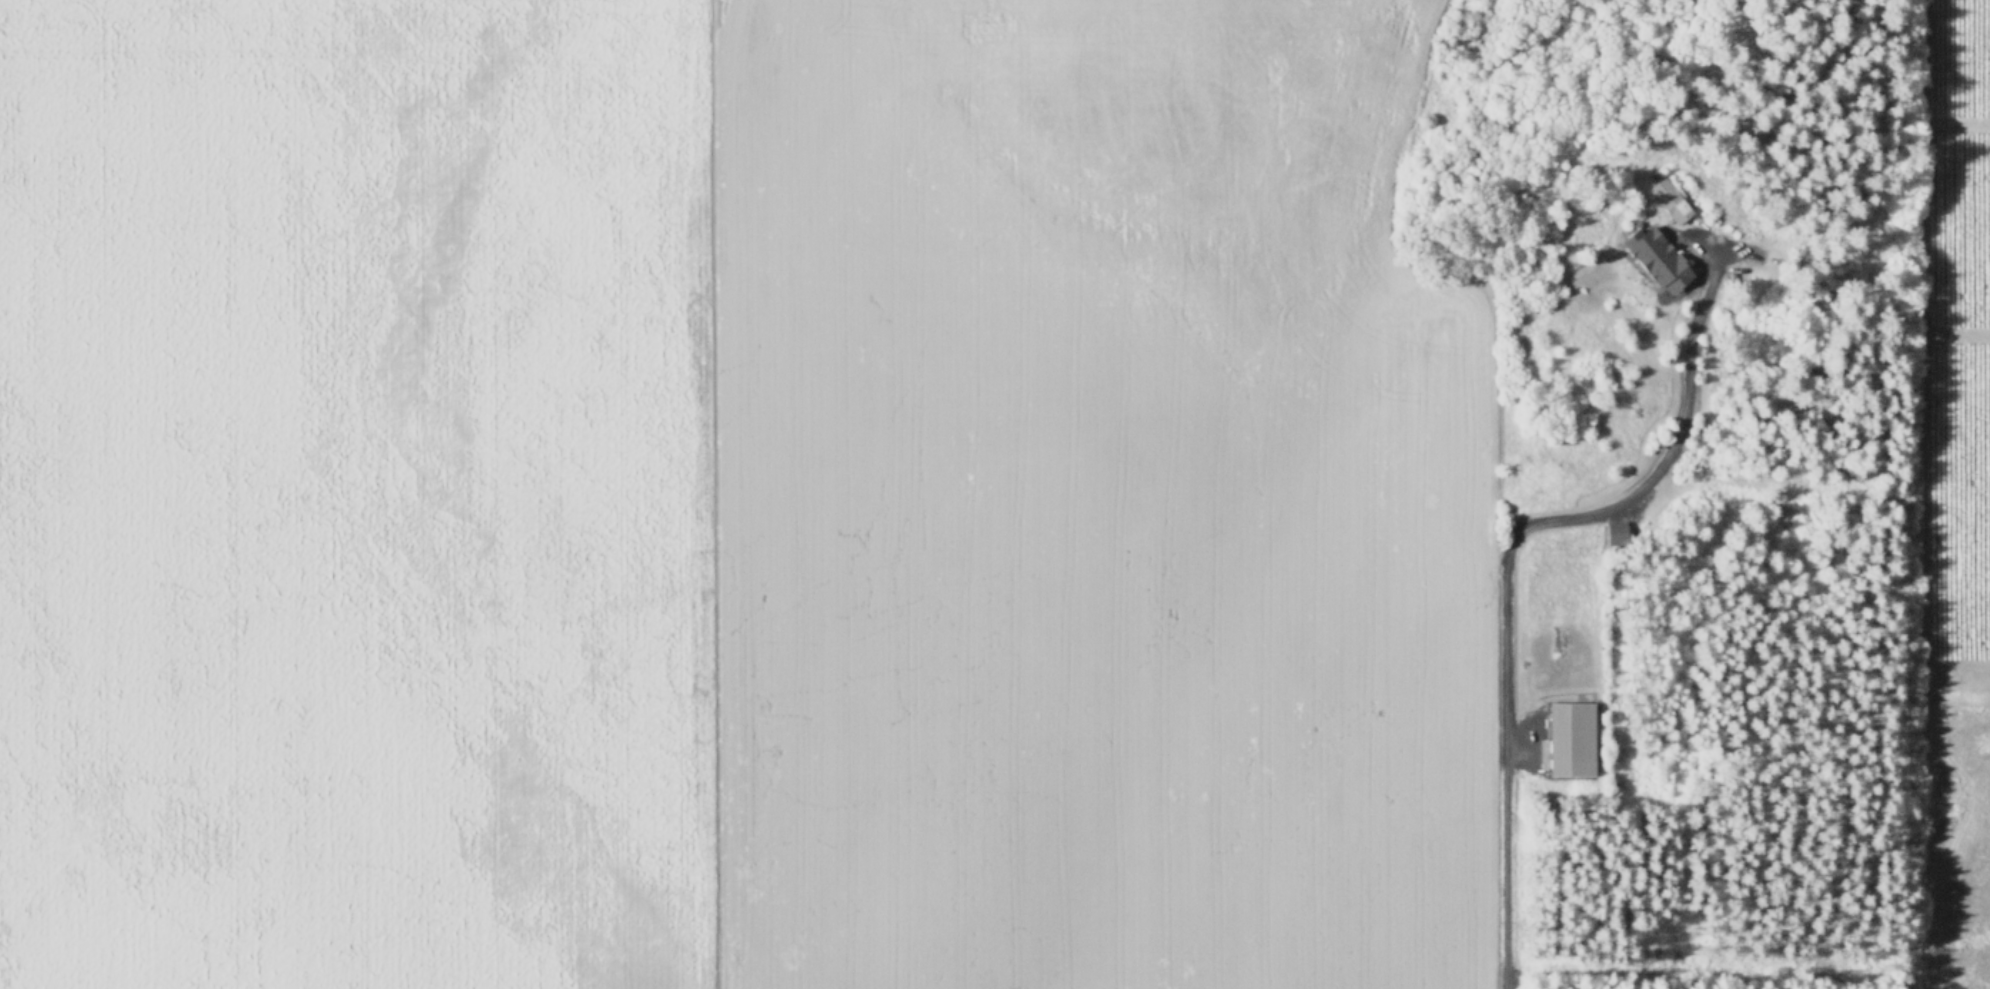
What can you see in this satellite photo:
building: (1671, 198)
building: (1658, 255)
crop: (730, 499)
building: (1617, 530)
road: (1501, 563)
building: (1572, 736)

